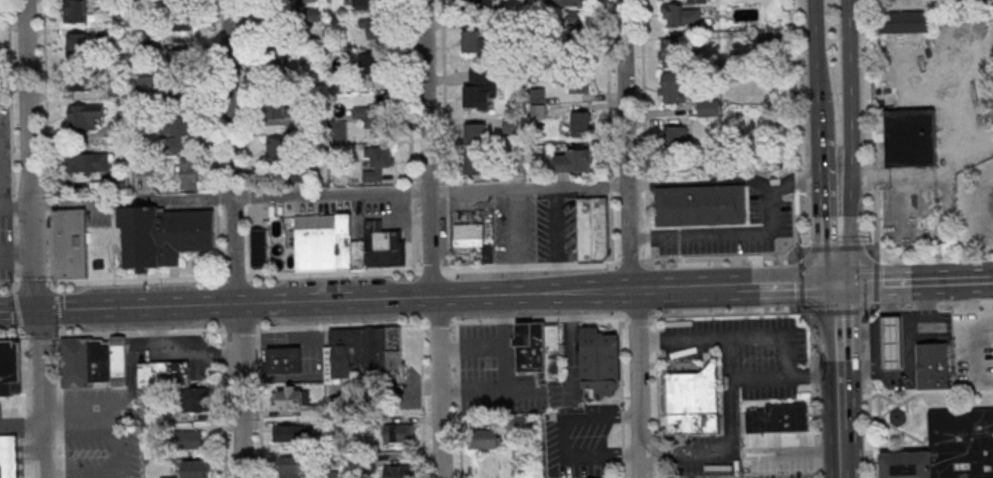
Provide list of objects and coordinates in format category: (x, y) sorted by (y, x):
building: (312, 1)
building: (696, 1)
building: (360, 2)
building: (570, 2)
building: (478, 7)
building: (76, 10)
building: (680, 16)
building: (272, 17)
building: (183, 18)
building: (905, 24)
building: (375, 28)
building: (573, 34)
building: (77, 42)
building: (476, 43)
road: (821, 50)
building: (674, 51)
building: (181, 59)
building: (274, 59)
building: (375, 66)
building: (79, 80)
building: (574, 81)
building: (146, 83)
road: (872, 83)
road: (793, 85)
building: (183, 87)
building: (674, 87)
building: (479, 88)
road: (853, 89)
road: (216, 95)
road: (246, 95)
road: (947, 97)
road: (11, 98)
road: (46, 99)
building: (537, 103)
building: (708, 107)
building: (281, 109)
building: (85, 115)
building: (370, 117)
building: (580, 123)
building: (510, 126)
park: (937, 126)
building: (114, 129)
road: (608, 131)
road: (645, 131)
building: (177, 132)
building: (477, 133)
road: (410, 134)
road: (445, 134)
building: (675, 137)
building: (910, 139)
road: (826, 140)
building: (280, 152)
road: (34, 155)
parking lot: (4, 157)
road: (969, 159)
building: (572, 161)
building: (90, 163)
building: (379, 163)
building: (476, 165)
building: (189, 173)
road: (893, 176)
road: (875, 177)
road: (796, 180)
road: (420, 193)
road: (249, 196)
road: (219, 197)
road: (14, 206)
building: (709, 206)
road: (49, 211)
road: (876, 222)
road: (799, 224)
parking lot: (536, 228)
road: (15, 229)
building: (592, 229)
parking lot: (738, 230)
road: (841, 232)
building: (162, 236)
building: (469, 237)
road: (249, 238)
road: (235, 239)
road: (431, 239)
road: (630, 239)
road: (220, 240)
road: (558, 240)
building: (324, 241)
road: (516, 242)
building: (69, 245)
road: (872, 245)
building: (383, 247)
road: (736, 247)
road: (839, 247)
building: (258, 249)
parking lot: (6, 250)
road: (15, 252)
road: (19, 255)
building: (358, 255)
road: (50, 256)
road: (627, 263)
road: (431, 269)
road: (692, 269)
road: (332, 271)
road: (16, 275)
road: (236, 275)
road: (137, 278)
road: (801, 281)
road: (992, 281)
road: (33, 283)
road: (877, 283)
road: (916, 284)
road: (8, 285)
traffic signals: (841, 287)
road: (790, 288)
road: (705, 289)
road: (634, 290)
road: (417, 297)
road: (928, 305)
road: (139, 307)
road: (57, 309)
road: (17, 311)
road: (21, 311)
traffic signals: (42, 311)
road: (839, 312)
road: (534, 318)
road: (239, 328)
road: (140, 332)
road: (841, 332)
road: (41, 335)
road: (12, 337)
road: (779, 338)
parking lot: (959, 340)
building: (552, 341)
building: (890, 341)
gas station: (890, 341)
road: (504, 342)
road: (471, 346)
building: (530, 348)
road: (978, 350)
parking lot: (750, 352)
building: (117, 357)
building: (363, 357)
building: (599, 360)
building: (99, 362)
building: (283, 362)
building: (76, 364)
road: (43, 365)
building: (933, 366)
building: (8, 370)
building: (166, 372)
parking lot: (495, 375)
road: (786, 379)
road: (843, 388)
road: (815, 389)
road: (484, 390)
road: (868, 394)
road: (927, 394)
building: (291, 396)
road: (730, 396)
road: (884, 396)
building: (195, 398)
road: (459, 399)
road: (423, 400)
road: (60, 403)
road: (260, 403)
building: (693, 403)
building: (341, 404)
road: (24, 405)
parking lot: (8, 416)
building: (899, 417)
road: (80, 418)
building: (786, 419)
road: (22, 420)
building: (755, 423)
road: (891, 424)
road: (843, 428)
building: (292, 433)
building: (397, 433)
road: (564, 437)
building: (192, 438)
building: (488, 439)
building: (962, 444)
road: (46, 448)
road: (122, 452)
parking lot: (104, 453)
road: (797, 453)
building: (9, 454)
parking lot: (777, 454)
parking lot: (700, 458)
building: (906, 465)
building: (289, 467)
road: (844, 467)
building: (196, 469)
building: (398, 471)
road: (23, 473)
building: (331, 475)
building: (168, 476)
parking lot: (775, 476)

